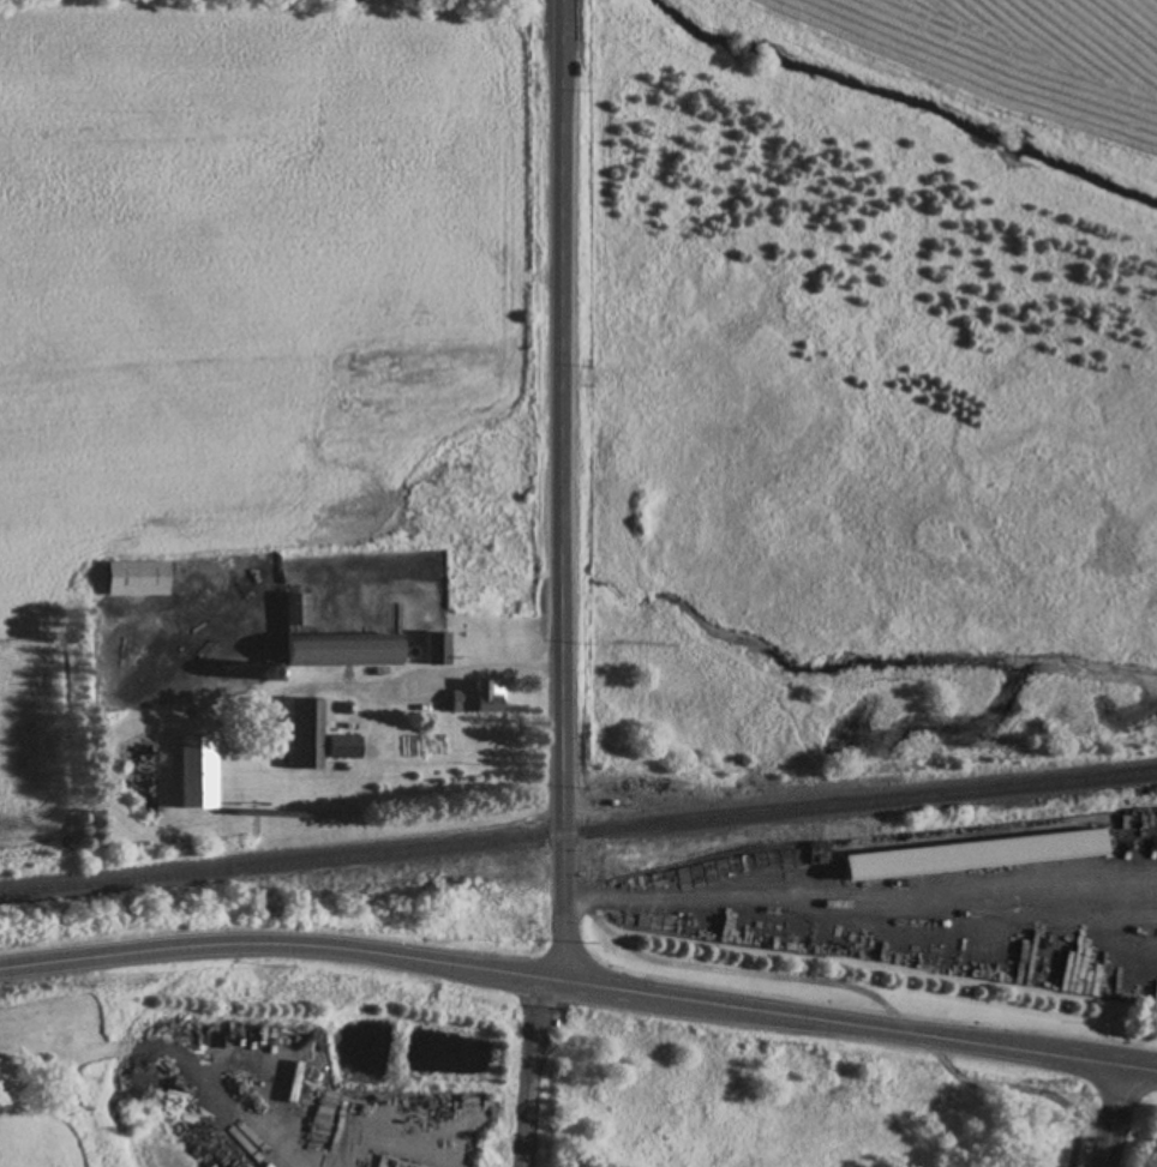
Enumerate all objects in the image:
road: (564, 491)
building: (139, 578)
building: (334, 642)
building: (437, 649)
building: (479, 697)
building: (324, 739)
building: (198, 771)
railway: (577, 832)
building: (972, 856)
road: (283, 945)
road: (847, 1024)
road: (1141, 1067)
road: (529, 1072)
road: (1116, 1117)

